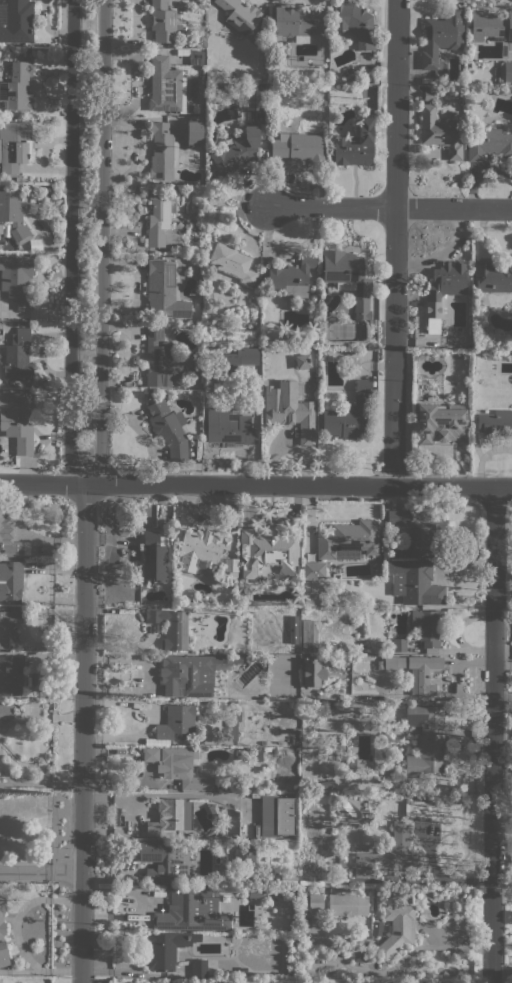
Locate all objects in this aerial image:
building: (240, 15)
building: (17, 21)
building: (162, 22)
building: (299, 22)
building: (354, 23)
building: (492, 28)
building: (441, 36)
building: (202, 44)
building: (196, 57)
building: (506, 71)
building: (17, 86)
building: (166, 86)
building: (431, 95)
building: (253, 98)
building: (439, 132)
building: (194, 133)
building: (488, 144)
building: (355, 145)
building: (14, 146)
building: (298, 147)
building: (162, 152)
building: (237, 152)
road: (389, 208)
building: (13, 216)
building: (159, 216)
road: (394, 242)
road: (70, 244)
road: (101, 244)
building: (233, 263)
building: (291, 276)
building: (492, 276)
building: (348, 277)
building: (16, 280)
building: (163, 290)
building: (443, 290)
building: (253, 302)
building: (416, 311)
building: (416, 318)
building: (373, 321)
building: (17, 357)
building: (238, 358)
building: (159, 359)
building: (301, 361)
building: (288, 410)
building: (350, 414)
building: (17, 420)
building: (440, 422)
building: (494, 423)
building: (228, 428)
building: (168, 429)
road: (256, 485)
building: (417, 530)
building: (8, 535)
building: (348, 540)
building: (200, 549)
building: (266, 553)
building: (155, 556)
building: (230, 568)
building: (313, 570)
building: (11, 580)
building: (414, 583)
building: (305, 584)
building: (246, 601)
building: (8, 623)
building: (195, 624)
building: (170, 627)
building: (426, 627)
building: (194, 629)
building: (293, 630)
building: (308, 635)
building: (399, 644)
building: (379, 665)
road: (503, 665)
building: (416, 672)
building: (312, 673)
building: (11, 675)
building: (187, 675)
road: (502, 694)
building: (331, 705)
building: (32, 709)
building: (6, 710)
road: (40, 718)
building: (233, 720)
building: (176, 722)
building: (295, 730)
road: (83, 733)
road: (493, 735)
building: (426, 739)
building: (338, 747)
building: (256, 754)
building: (33, 762)
building: (351, 762)
building: (180, 766)
road: (37, 783)
building: (326, 784)
building: (313, 785)
building: (277, 815)
building: (170, 816)
building: (394, 844)
building: (244, 852)
building: (164, 859)
road: (25, 871)
road: (67, 871)
building: (255, 892)
building: (315, 902)
building: (347, 904)
building: (191, 911)
building: (396, 930)
building: (2, 932)
building: (170, 948)
building: (358, 955)
building: (199, 968)
building: (242, 971)
building: (161, 982)
building: (168, 982)
building: (213, 982)
building: (221, 982)
building: (234, 982)

